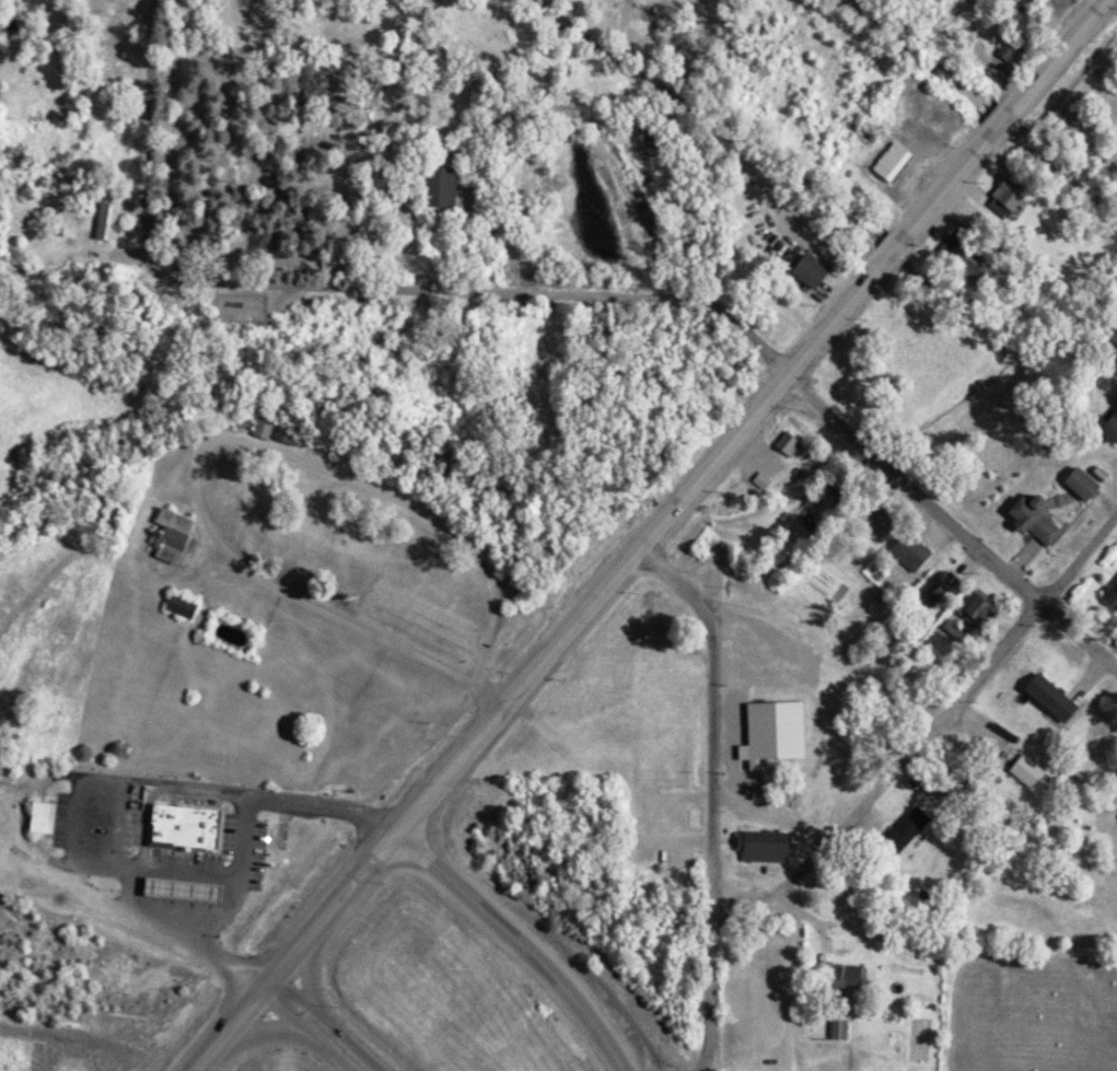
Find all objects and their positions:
building: (1023, 20)
building: (1007, 46)
road: (1057, 51)
road: (1000, 119)
building: (889, 159)
building: (446, 188)
building: (1007, 196)
building: (107, 221)
building: (967, 253)
building: (806, 266)
road: (348, 287)
building: (1109, 418)
building: (259, 429)
building: (784, 441)
road: (213, 449)
building: (758, 477)
building: (1080, 478)
building: (1031, 513)
road: (950, 522)
building: (174, 536)
building: (907, 546)
road: (630, 556)
building: (932, 581)
building: (1110, 587)
building: (938, 590)
building: (182, 608)
building: (967, 613)
building: (1049, 692)
road: (711, 711)
building: (769, 726)
road: (926, 731)
building: (1023, 766)
building: (43, 818)
building: (186, 828)
building: (901, 828)
building: (759, 842)
road: (519, 941)
road: (306, 970)
building: (848, 977)
road: (770, 978)
road: (708, 988)
road: (234, 1024)
road: (327, 1024)
building: (838, 1032)
road: (266, 1033)
road: (303, 1034)

